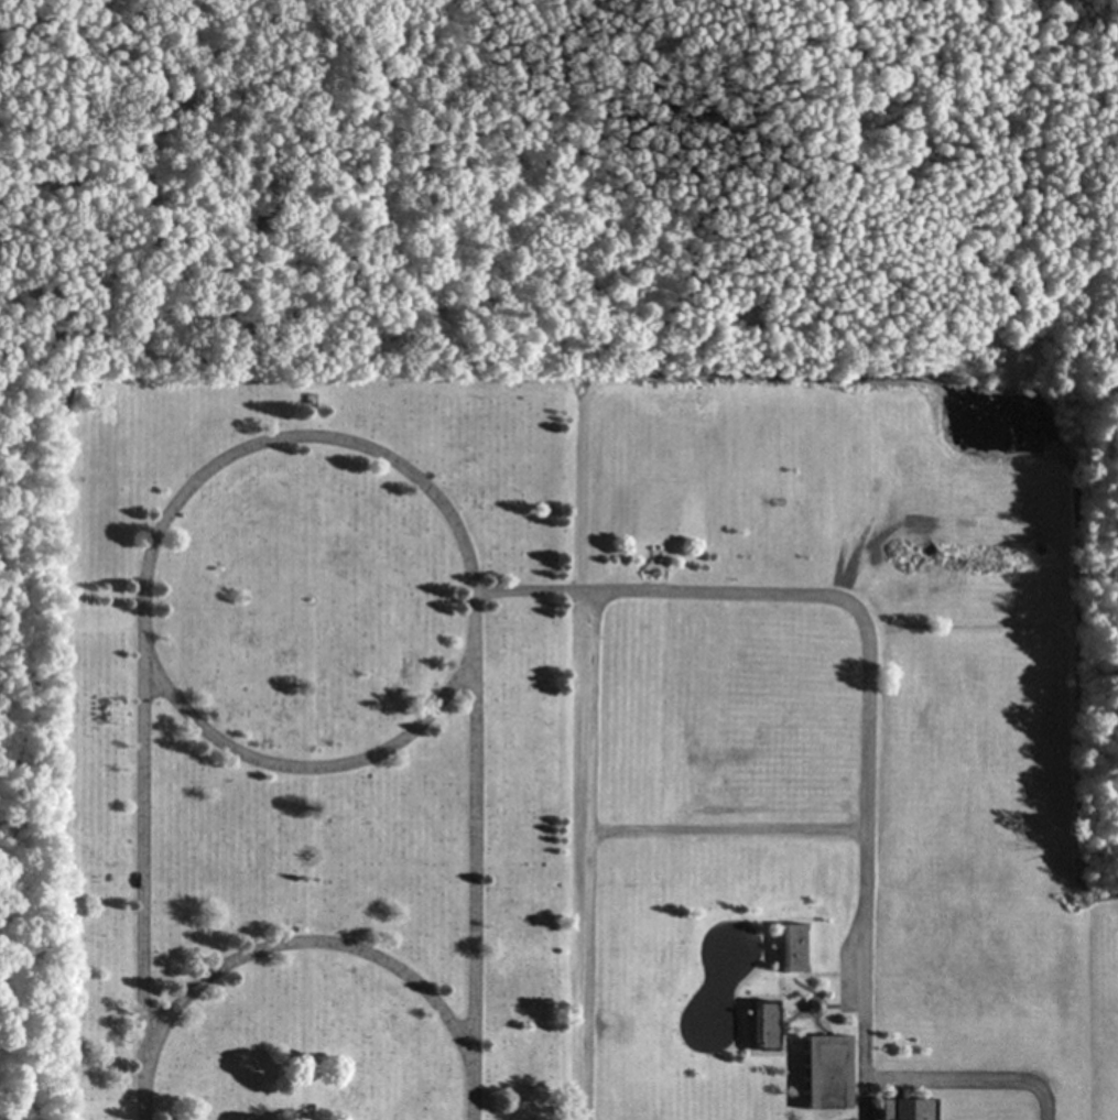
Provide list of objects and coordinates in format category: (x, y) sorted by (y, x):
road: (466, 556)
road: (859, 617)
park: (422, 714)
road: (587, 855)
road: (141, 856)
road: (471, 860)
road: (306, 942)
building: (785, 950)
building: (758, 1027)
building: (819, 1074)
building: (899, 1110)

